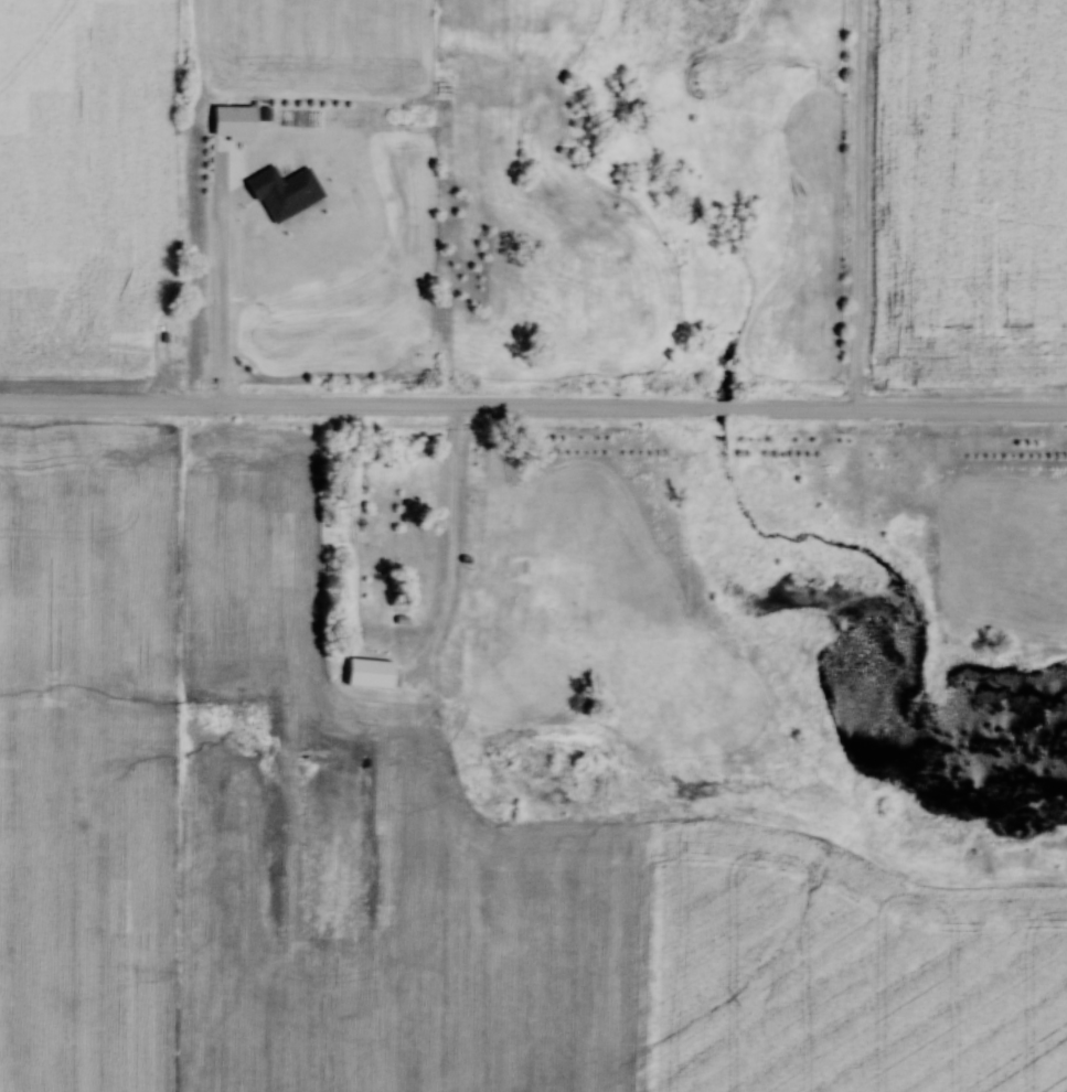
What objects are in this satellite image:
road: (857, 206)
road: (533, 409)
road: (455, 536)
building: (371, 673)

